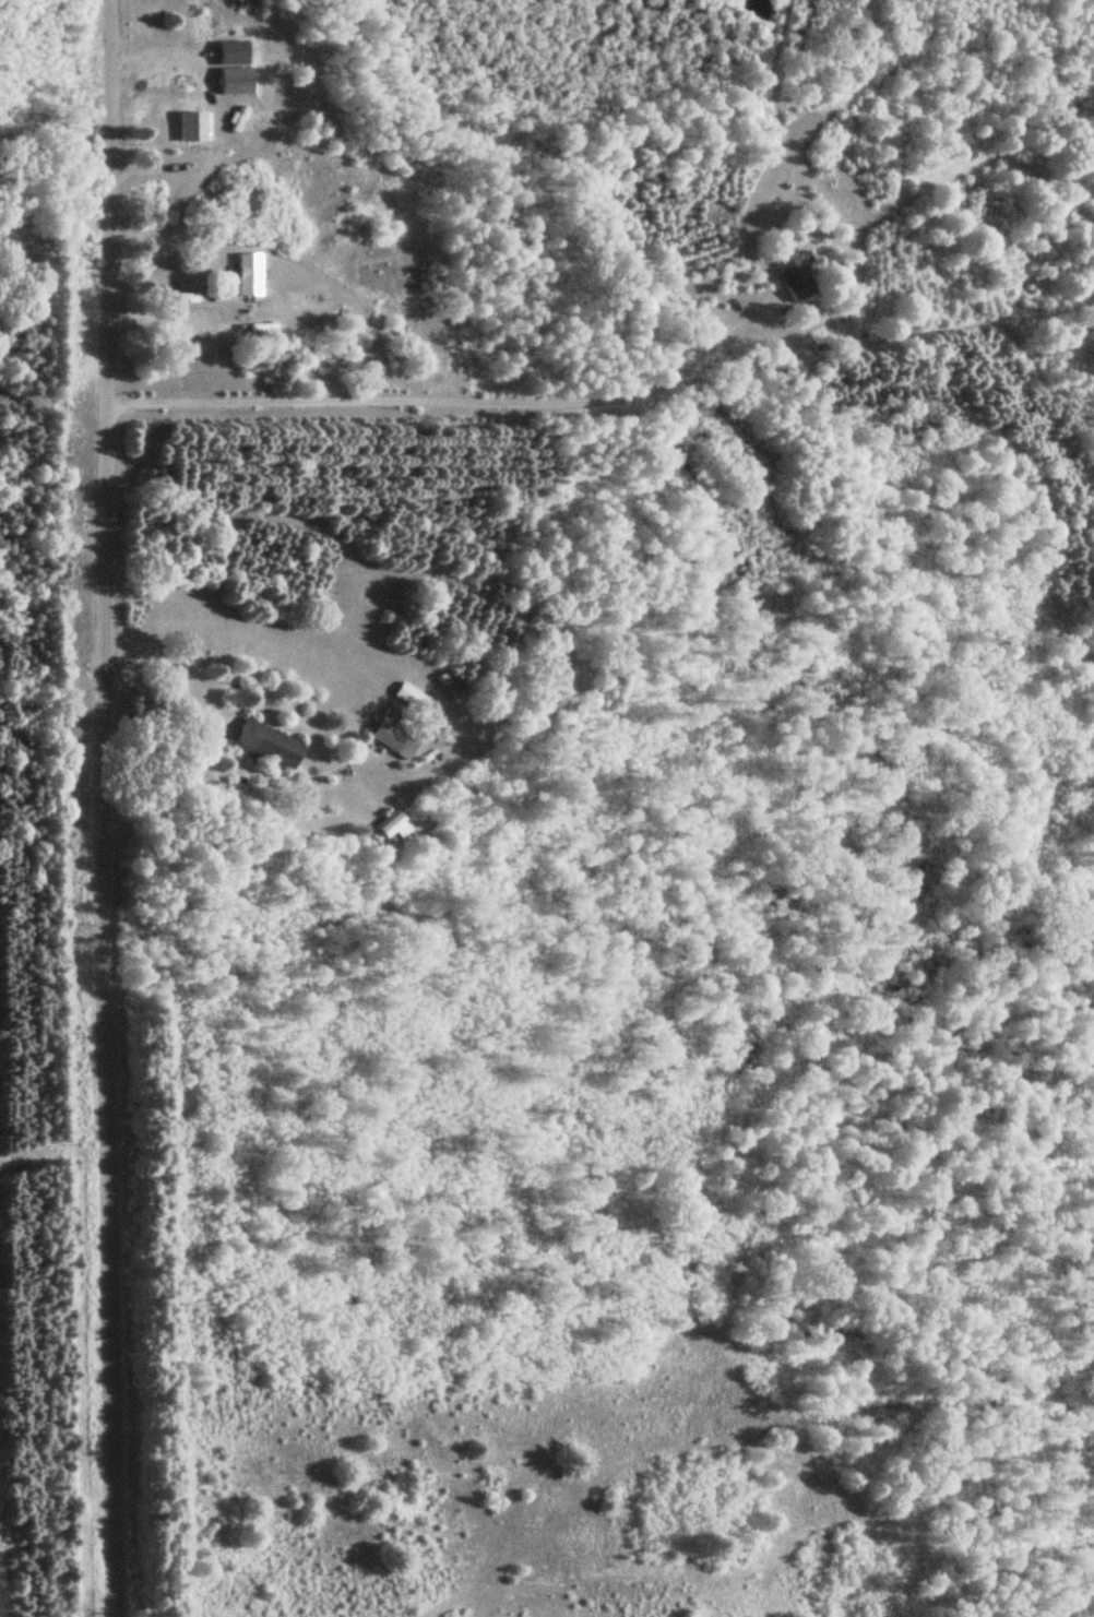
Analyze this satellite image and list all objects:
building: (231, 81)
building: (190, 127)
building: (245, 274)
building: (789, 274)
building: (444, 683)
building: (393, 735)
building: (264, 742)
road: (118, 808)

